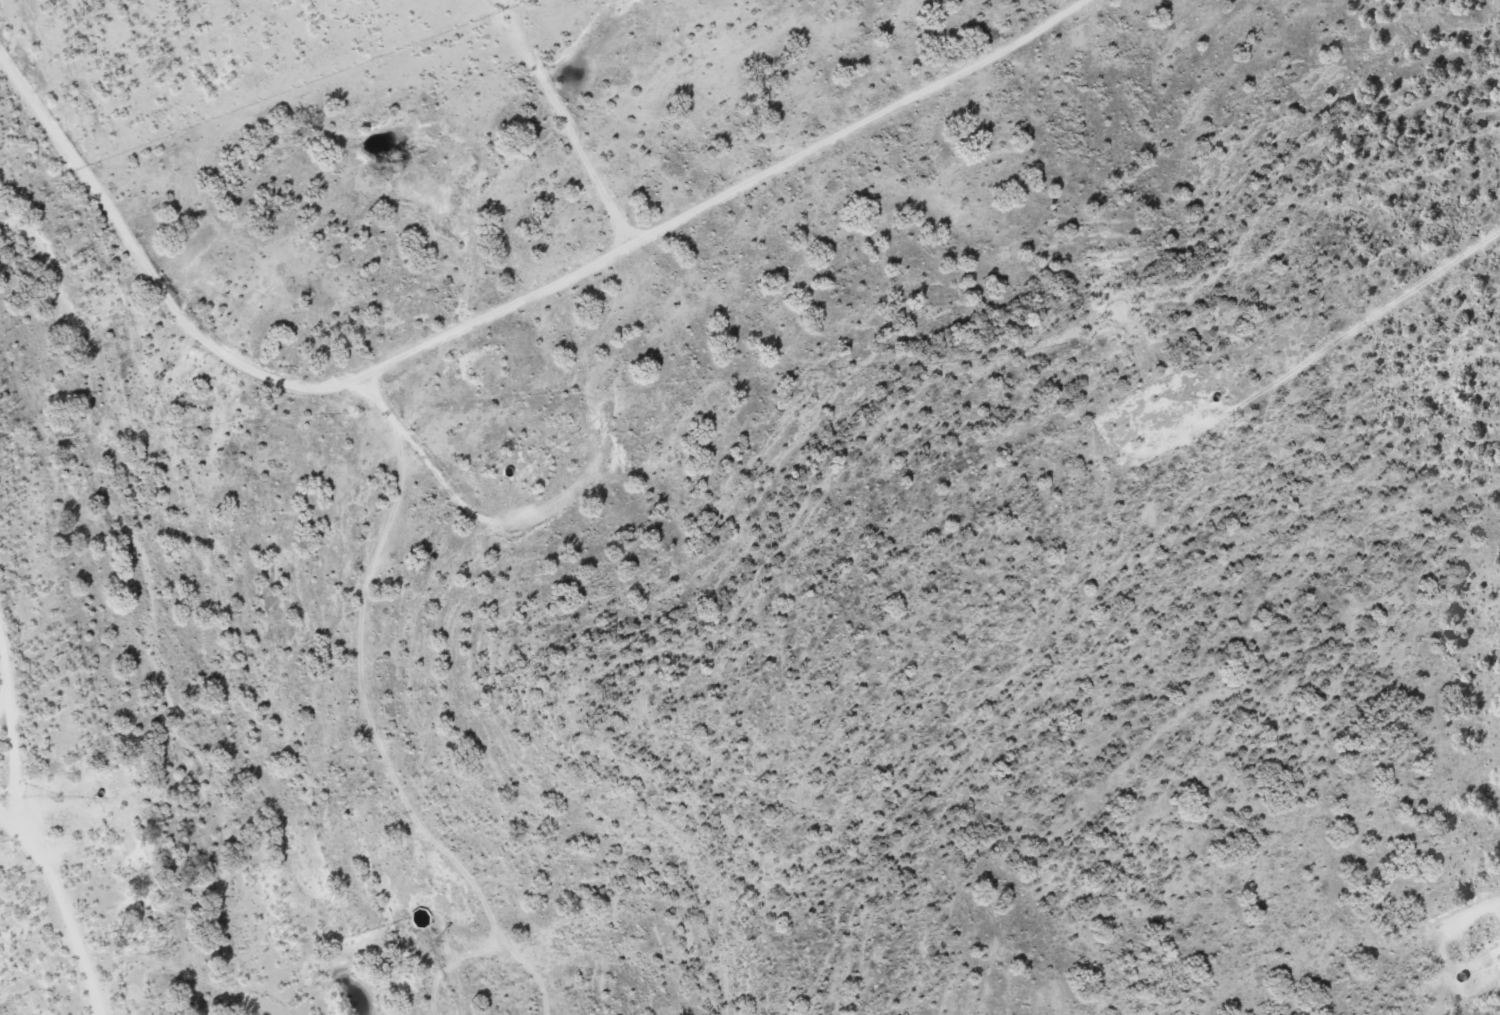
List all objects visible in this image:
road: (753, 198)
road: (384, 473)
road: (1289, 473)
road: (45, 849)
road: (199, 978)
road: (1488, 1007)

